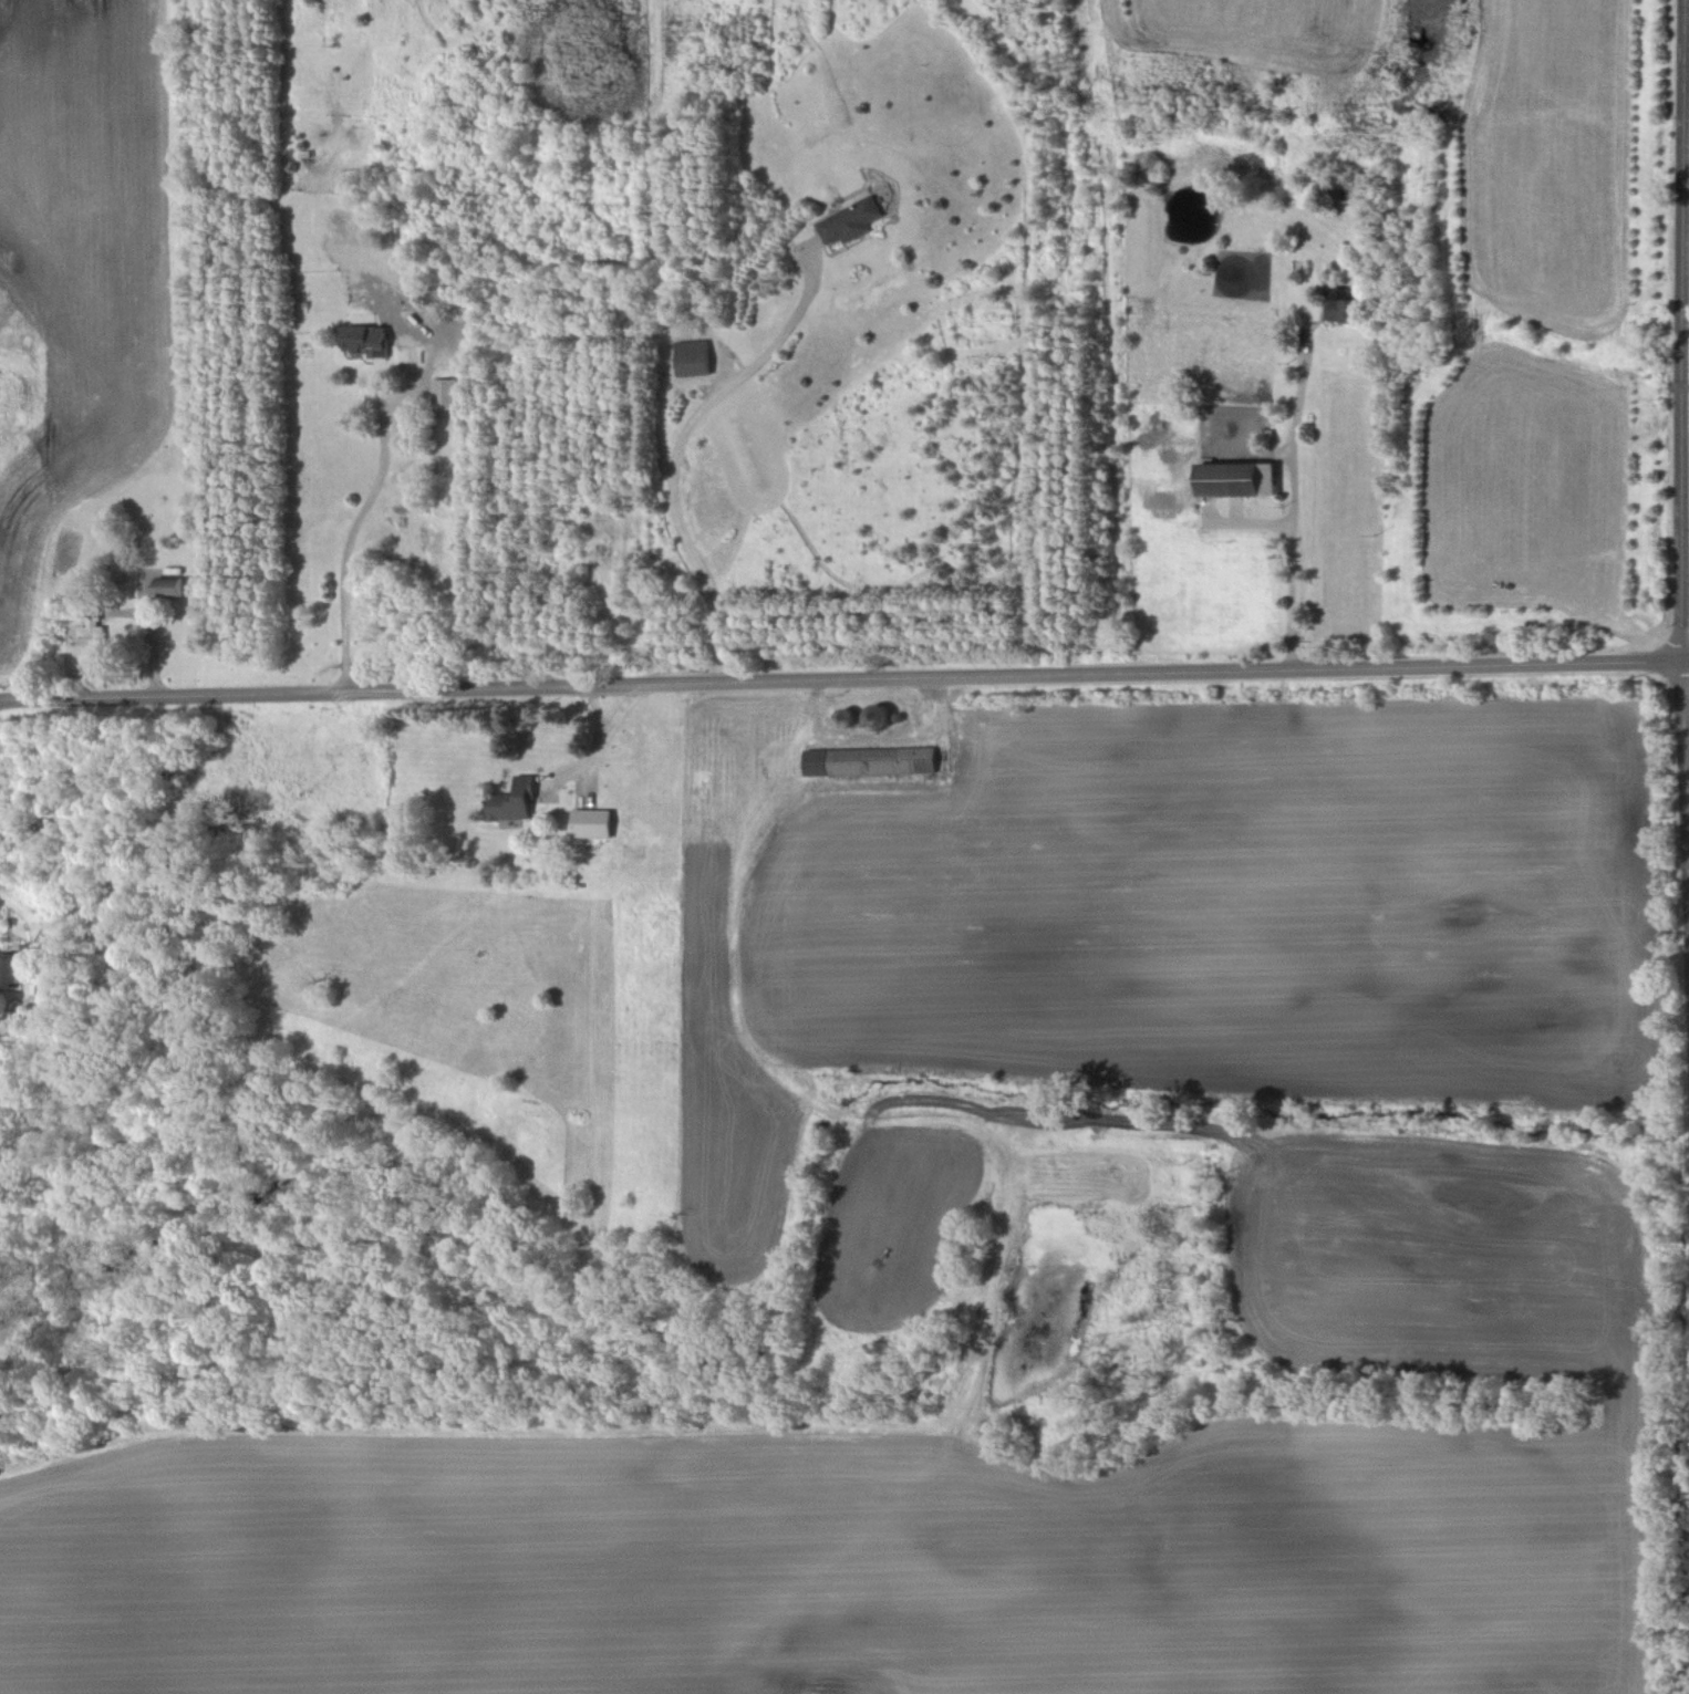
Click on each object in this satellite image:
road: (1687, 3)
building: (849, 222)
building: (1341, 308)
building: (363, 342)
building: (692, 358)
building: (445, 395)
road: (672, 457)
road: (1682, 458)
building: (1235, 480)
road: (1293, 507)
road: (351, 533)
building: (167, 588)
road: (844, 682)
building: (877, 718)
building: (842, 720)
road: (600, 740)
building: (869, 762)
building: (512, 802)
building: (590, 824)
building: (9, 969)

